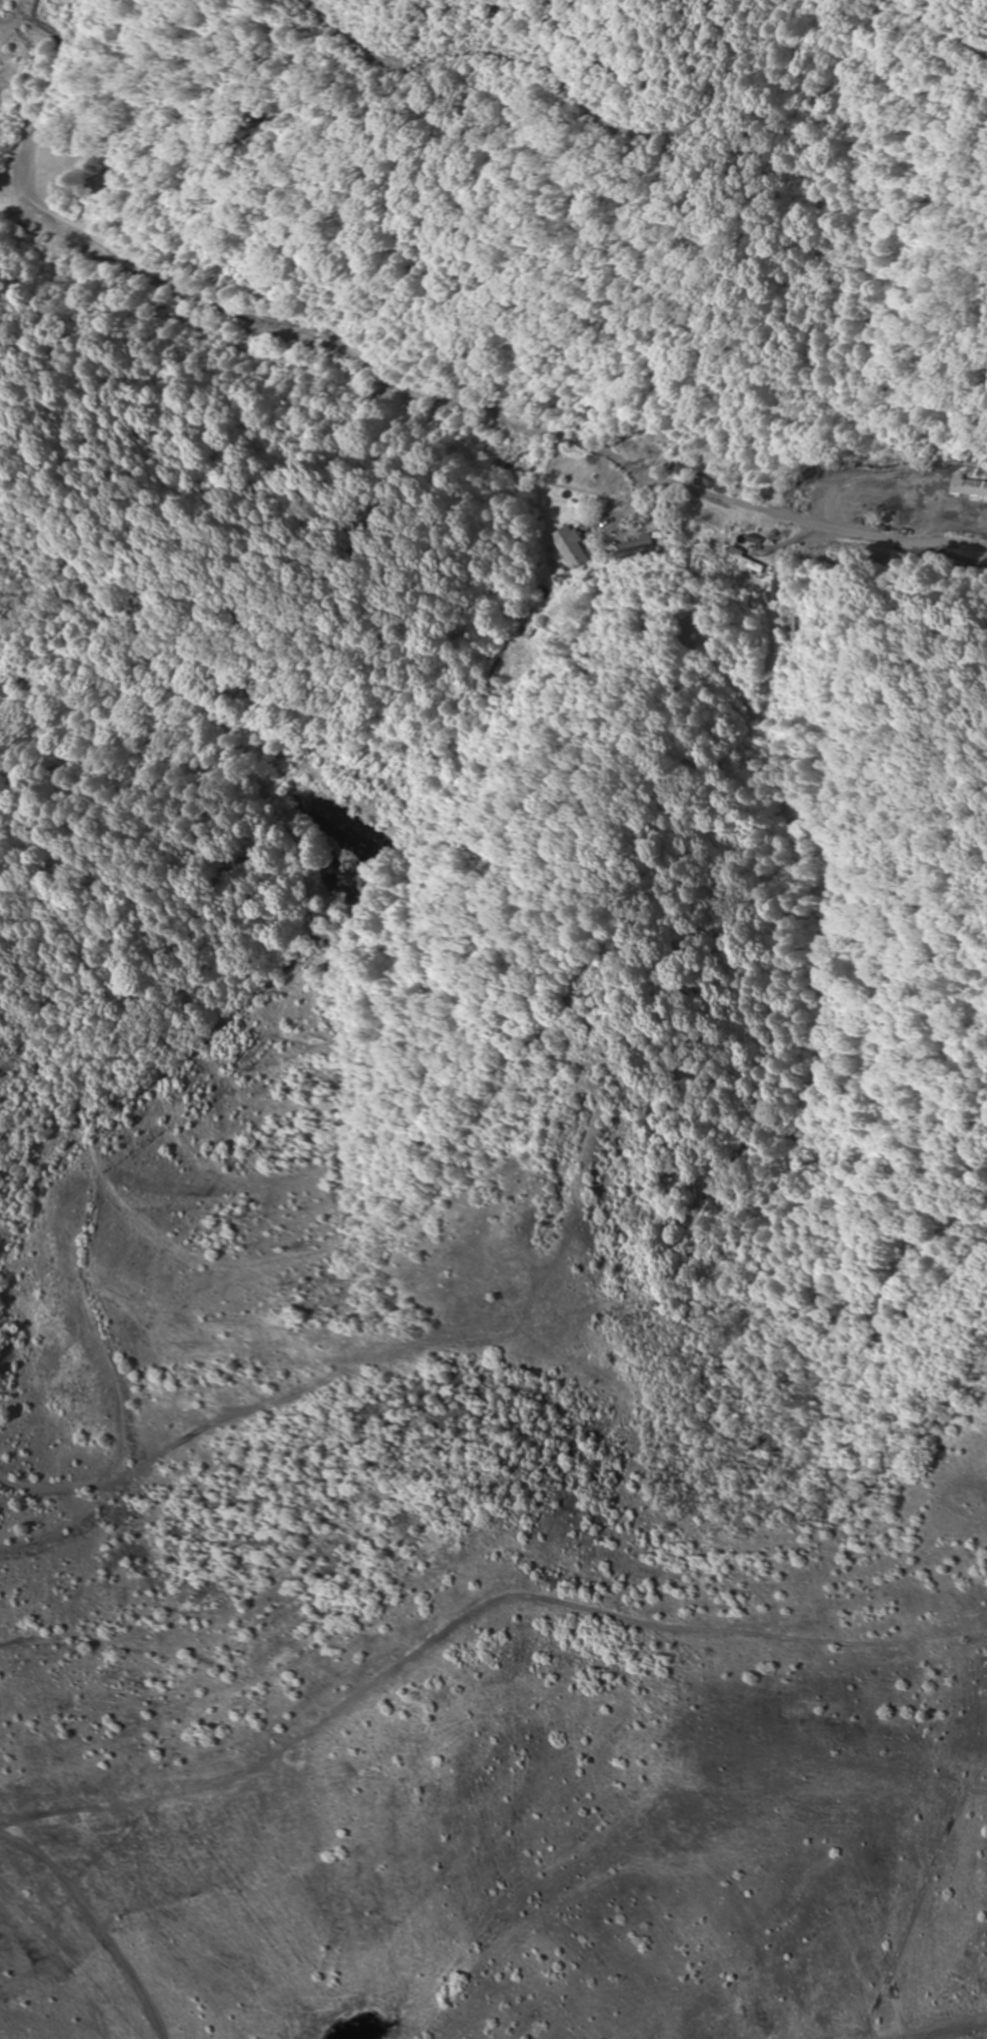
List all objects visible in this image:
road: (604, 470)
building: (643, 545)
building: (578, 547)
building: (751, 560)

